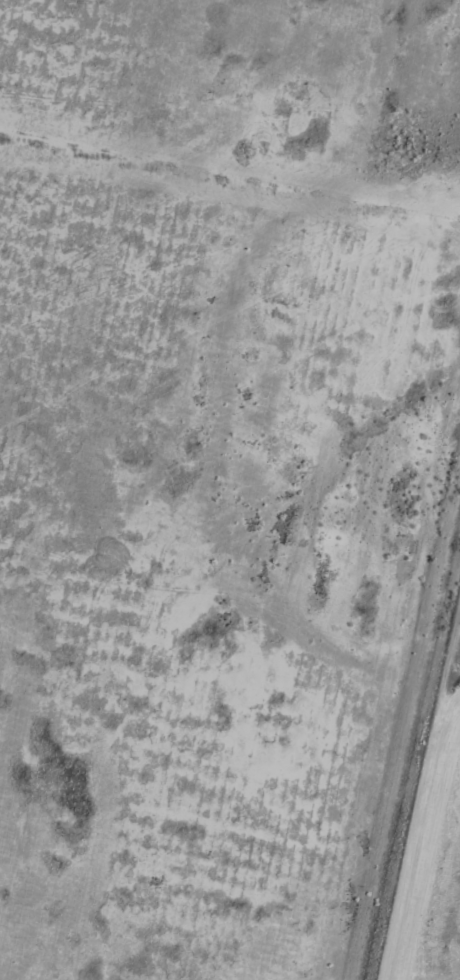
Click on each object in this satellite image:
road: (421, 845)

